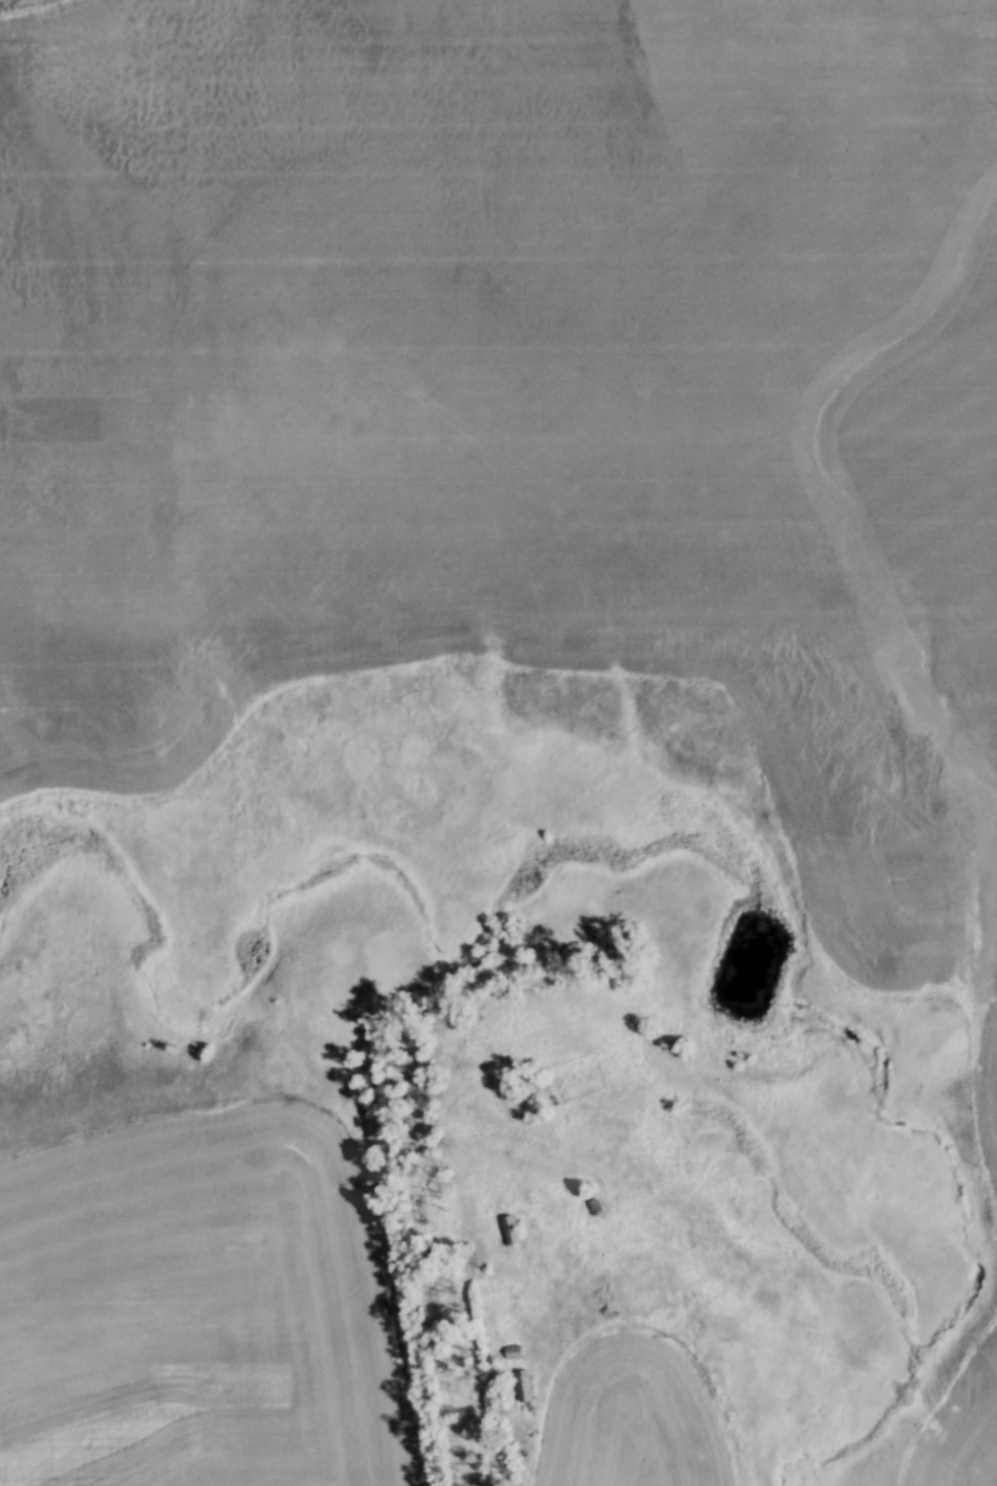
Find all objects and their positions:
building: (594, 1210)
building: (512, 1233)
building: (512, 1354)
road: (492, 1450)

